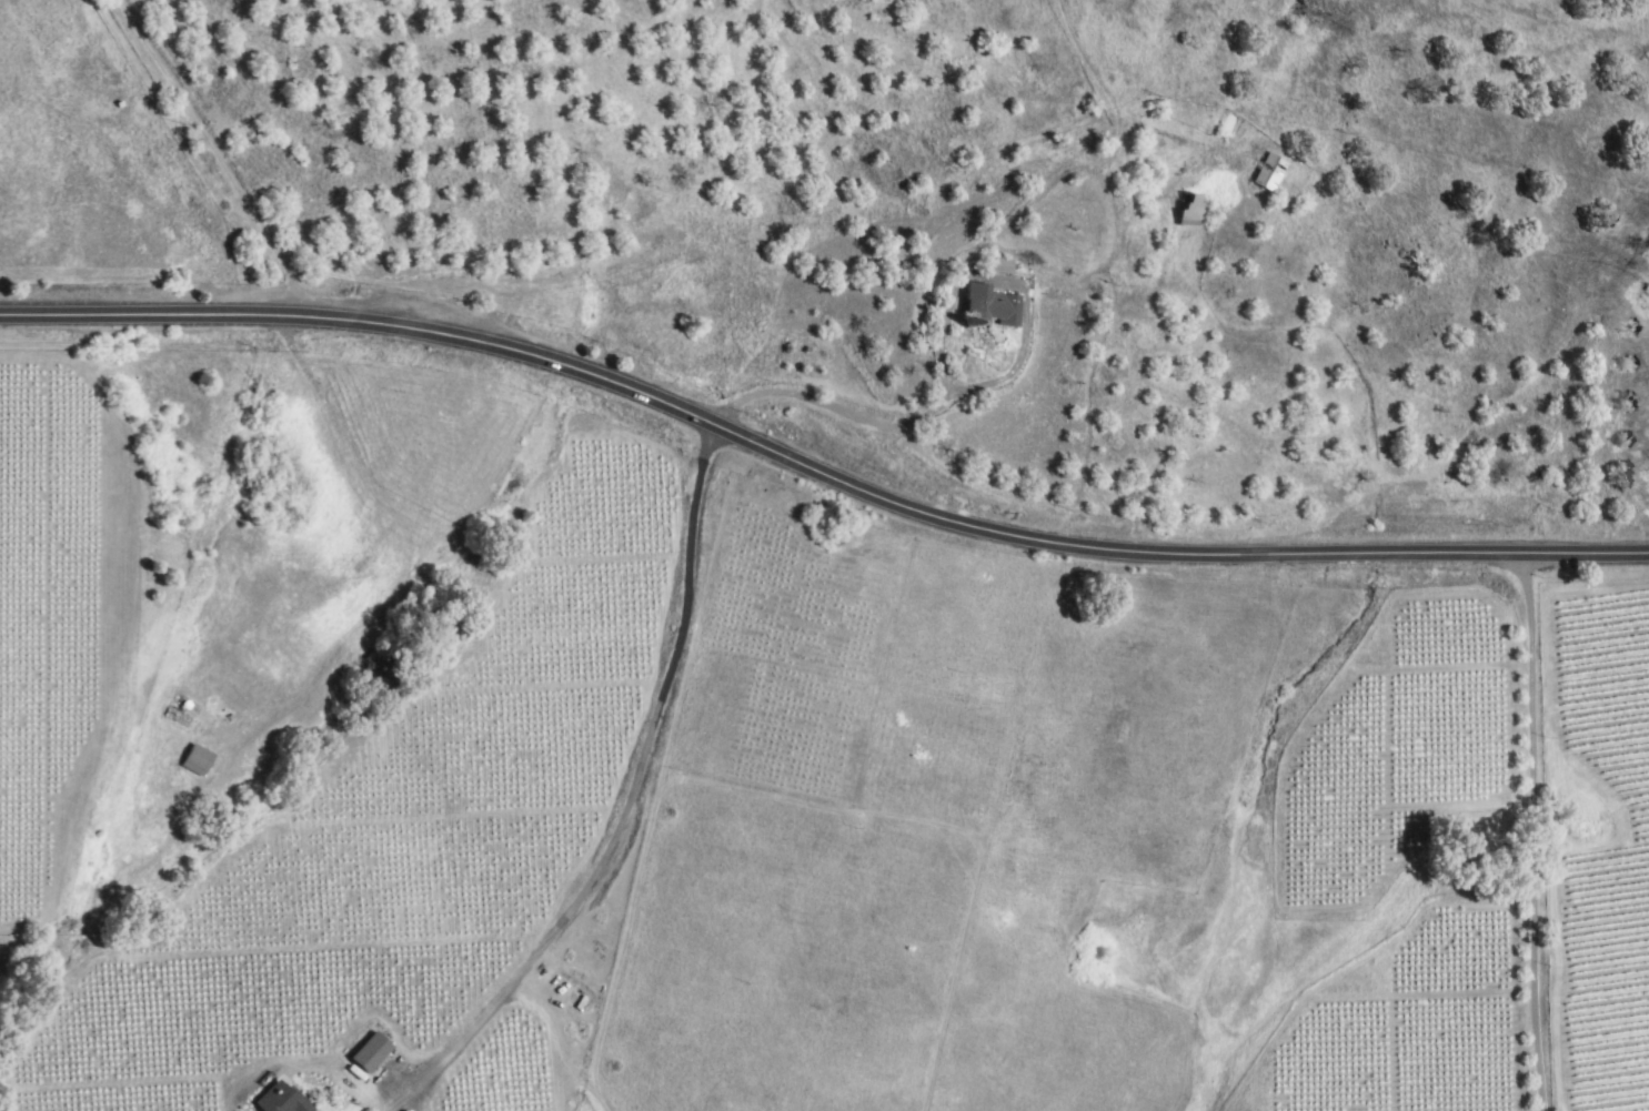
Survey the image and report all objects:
road: (219, 152)
building: (1267, 172)
building: (1189, 209)
building: (999, 265)
building: (991, 306)
road: (856, 418)
road: (818, 474)
building: (194, 759)
road: (625, 806)
road: (1203, 820)
road: (1528, 835)
building: (368, 1052)
building: (276, 1099)

